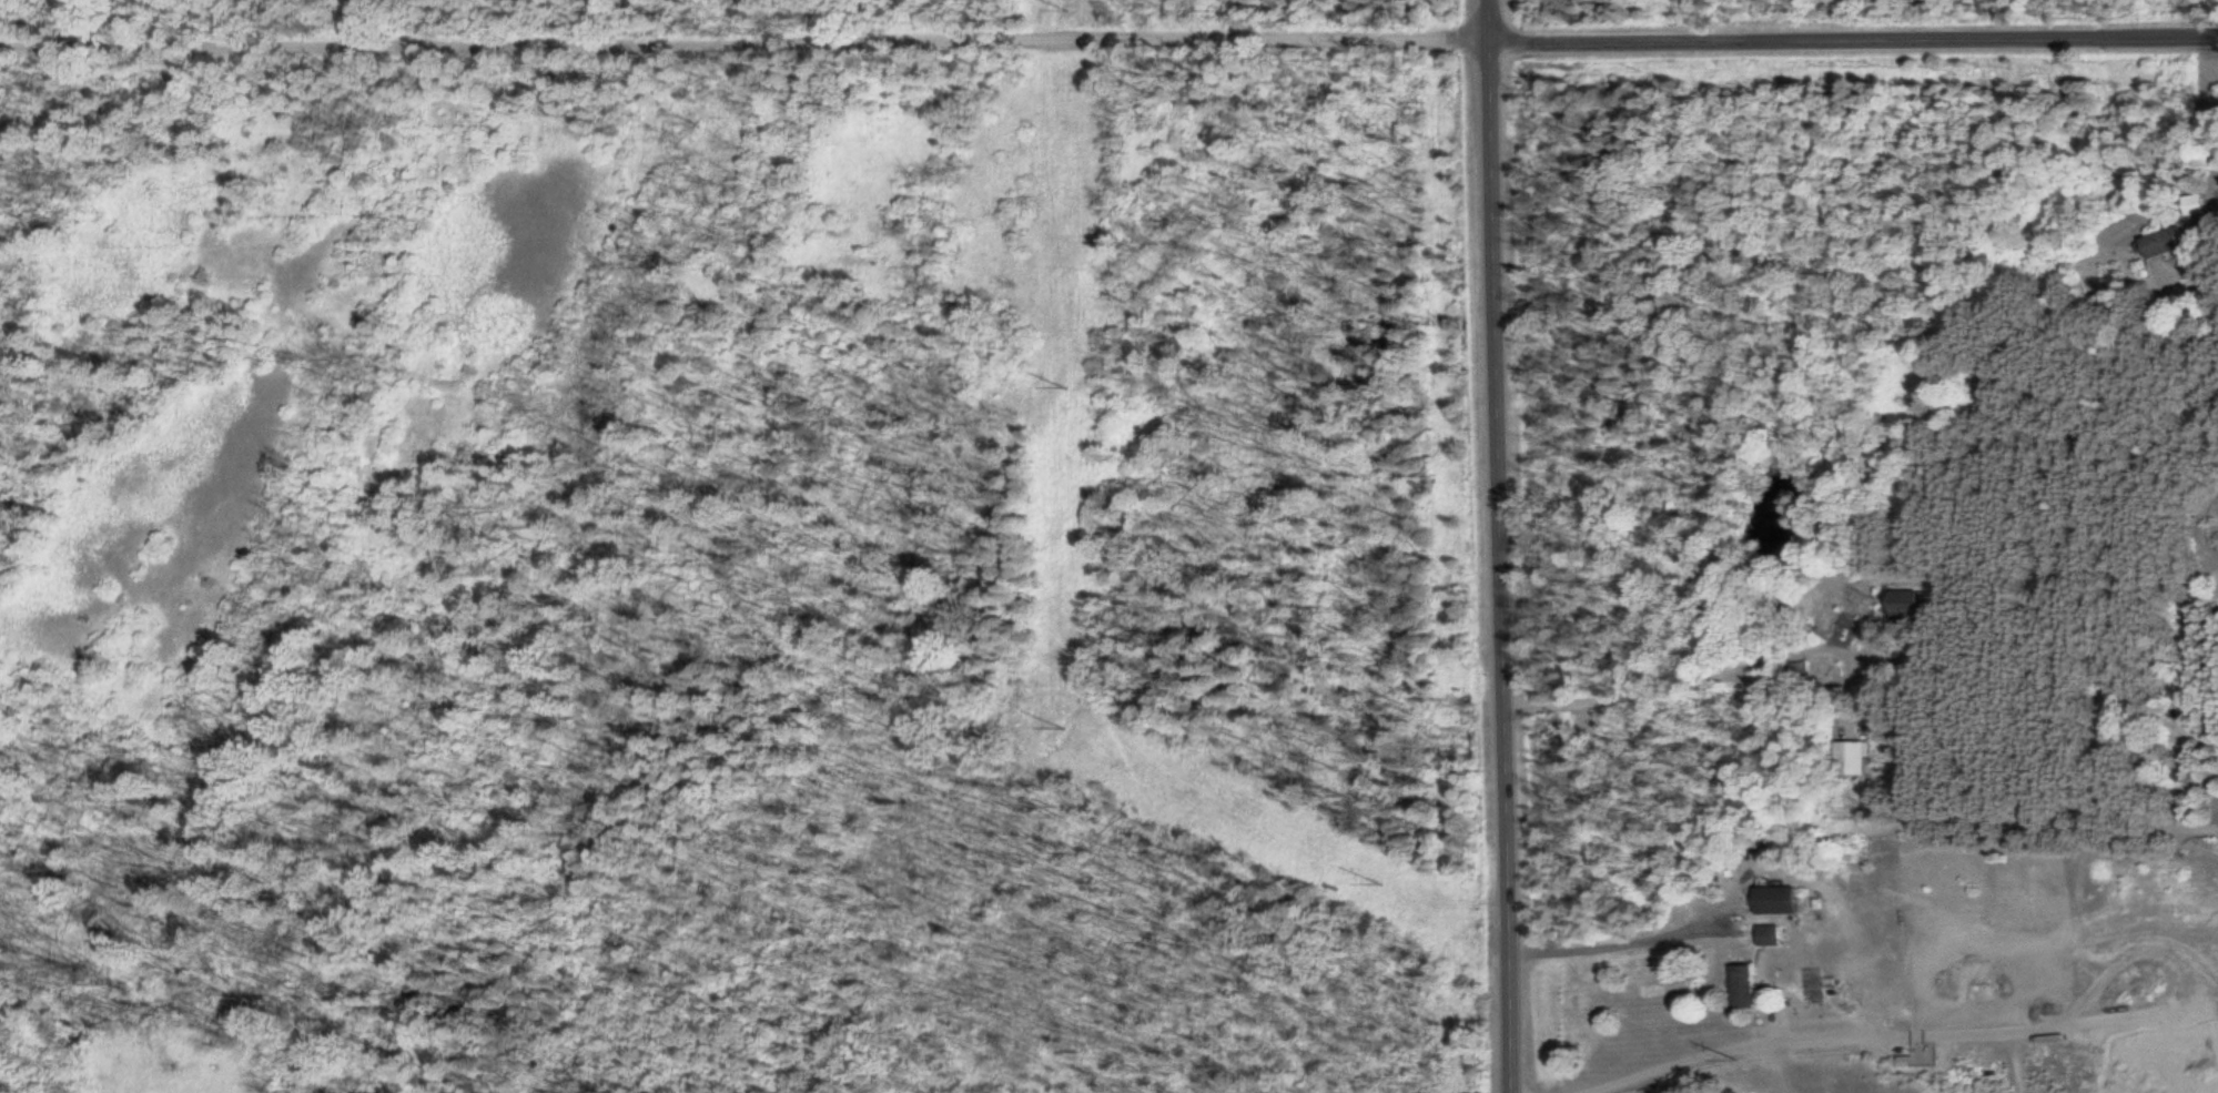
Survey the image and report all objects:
road: (745, 41)
road: (1853, 41)
building: (2161, 244)
road: (1495, 546)
building: (1906, 605)
building: (1801, 670)
building: (1849, 757)
building: (1781, 900)
building: (1810, 911)
building: (1769, 935)
building: (1748, 986)

